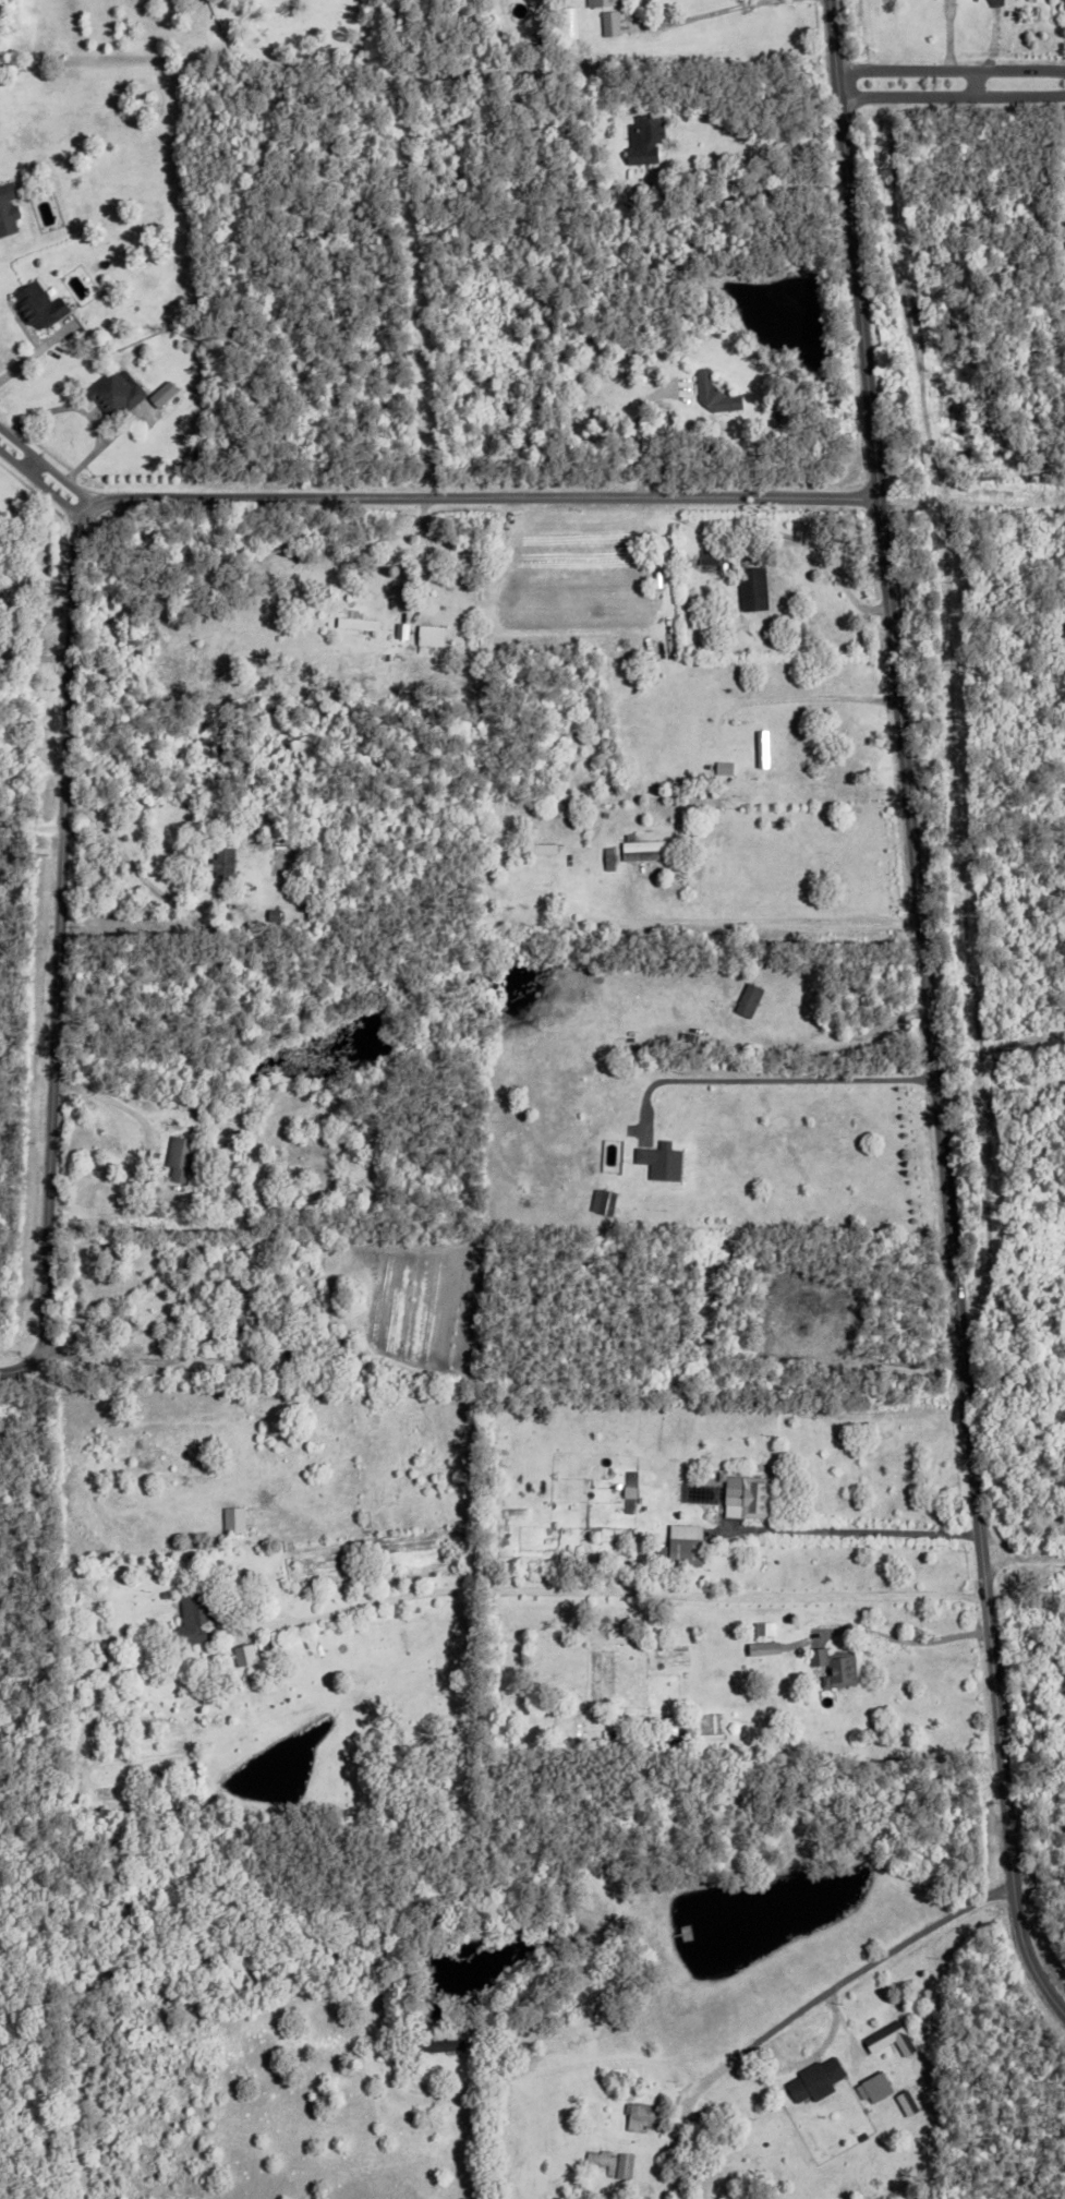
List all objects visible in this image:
building: (598, 1)
building: (1062, 3)
road: (712, 11)
building: (608, 21)
road: (951, 69)
road: (952, 94)
building: (624, 96)
building: (642, 137)
building: (7, 207)
building: (71, 276)
building: (37, 304)
road: (25, 355)
building: (112, 392)
building: (712, 392)
building: (167, 395)
building: (778, 410)
road: (83, 411)
building: (786, 419)
road: (637, 434)
road: (44, 478)
road: (76, 561)
building: (709, 561)
building: (751, 588)
building: (355, 622)
building: (400, 630)
building: (427, 634)
road: (33, 654)
road: (755, 698)
building: (760, 747)
building: (550, 849)
building: (640, 849)
building: (606, 857)
building: (612, 858)
building: (220, 864)
road: (134, 875)
road: (769, 918)
building: (745, 999)
road: (929, 1013)
building: (683, 1042)
building: (630, 1055)
road: (770, 1077)
road: (1003, 1086)
road: (108, 1099)
building: (181, 1159)
building: (658, 1163)
building: (601, 1201)
building: (268, 1203)
building: (293, 1294)
building: (242, 1308)
building: (301, 1313)
road: (118, 1367)
building: (745, 1495)
building: (232, 1519)
road: (860, 1529)
building: (300, 1550)
building: (682, 1553)
road: (1022, 1557)
building: (271, 1575)
road: (639, 1590)
building: (162, 1595)
building: (193, 1618)
road: (254, 1625)
building: (766, 1630)
road: (908, 1639)
building: (770, 1649)
building: (221, 1650)
building: (99, 1653)
building: (247, 1655)
building: (833, 1666)
building: (70, 1673)
road: (849, 1979)
building: (472, 2028)
building: (887, 2034)
building: (436, 2041)
road: (543, 2066)
building: (813, 2077)
building: (872, 2084)
building: (905, 2099)
building: (638, 2114)
building: (860, 2134)
building: (600, 2158)
building: (621, 2162)

